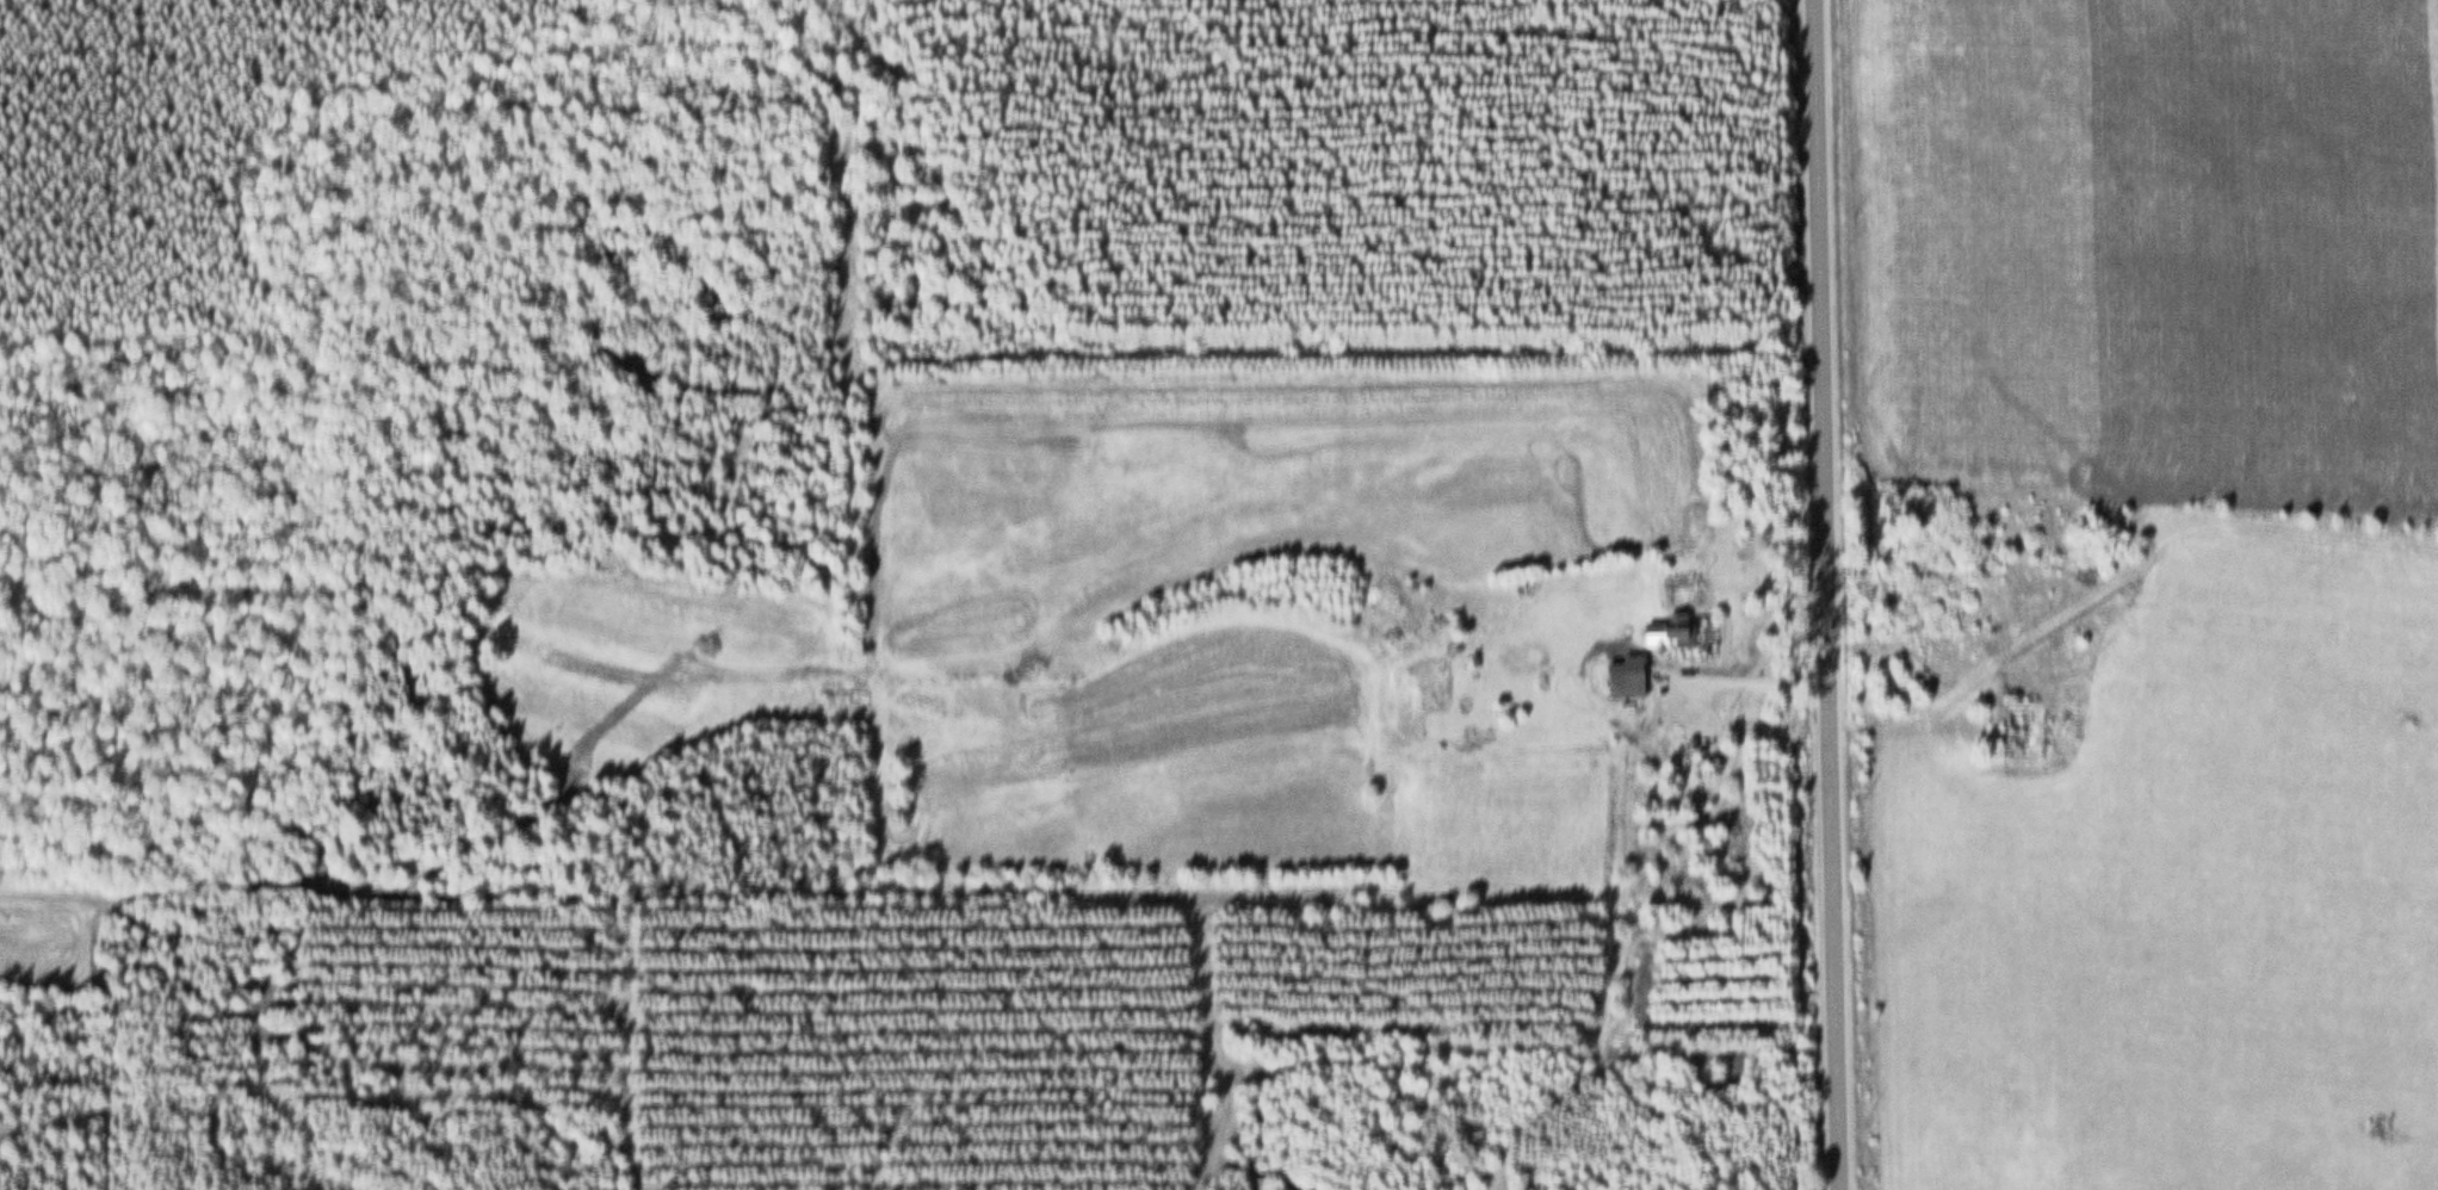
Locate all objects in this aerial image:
road: (1828, 595)
building: (1673, 633)
building: (1620, 682)

